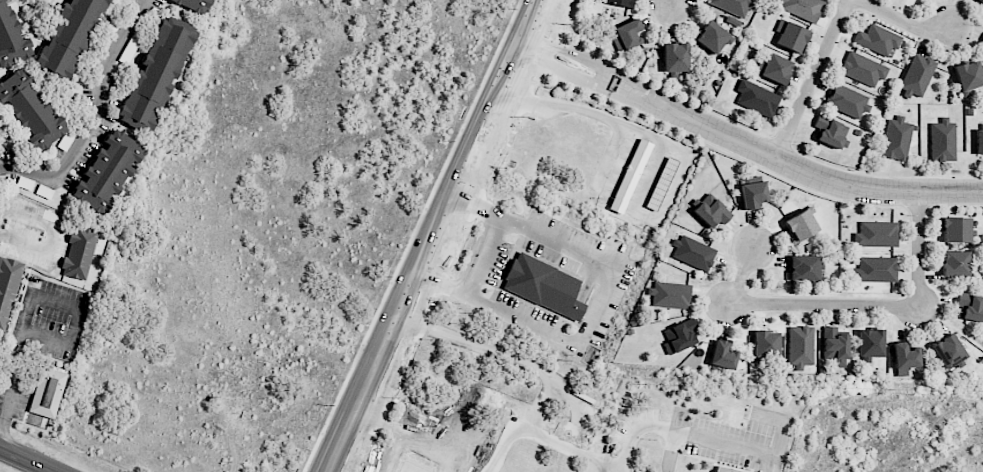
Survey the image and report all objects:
building: (981, 1)
building: (621, 3)
road: (671, 3)
building: (193, 4)
building: (733, 6)
building: (802, 8)
road: (905, 22)
building: (625, 34)
building: (69, 35)
building: (791, 36)
building: (712, 37)
building: (10, 38)
building: (877, 40)
building: (982, 42)
building: (675, 57)
road: (597, 62)
building: (774, 69)
building: (862, 69)
building: (157, 72)
building: (916, 75)
building: (968, 76)
road: (812, 80)
road: (586, 83)
building: (756, 98)
building: (847, 102)
road: (576, 107)
building: (29, 108)
road: (96, 116)
building: (830, 131)
building: (896, 138)
building: (65, 140)
building: (942, 141)
building: (979, 141)
building: (107, 171)
road: (810, 175)
building: (629, 176)
building: (661, 183)
building: (752, 194)
building: (710, 212)
building: (800, 225)
parking lot: (27, 229)
building: (955, 229)
road: (52, 232)
building: (876, 234)
road: (442, 235)
building: (79, 253)
building: (693, 253)
road: (486, 260)
building: (954, 263)
building: (805, 268)
building: (875, 269)
building: (546, 284)
building: (8, 287)
building: (670, 295)
road: (842, 306)
building: (970, 306)
road: (594, 309)
road: (74, 328)
building: (680, 336)
parking lot: (41, 339)
building: (870, 343)
building: (765, 345)
building: (800, 346)
building: (834, 346)
building: (948, 352)
road: (511, 354)
building: (722, 355)
building: (904, 358)
road: (15, 365)
road: (428, 383)
building: (46, 392)
road: (531, 431)
road: (399, 433)
road: (690, 434)
road: (668, 451)
road: (24, 461)
road: (599, 461)
building: (723, 470)

